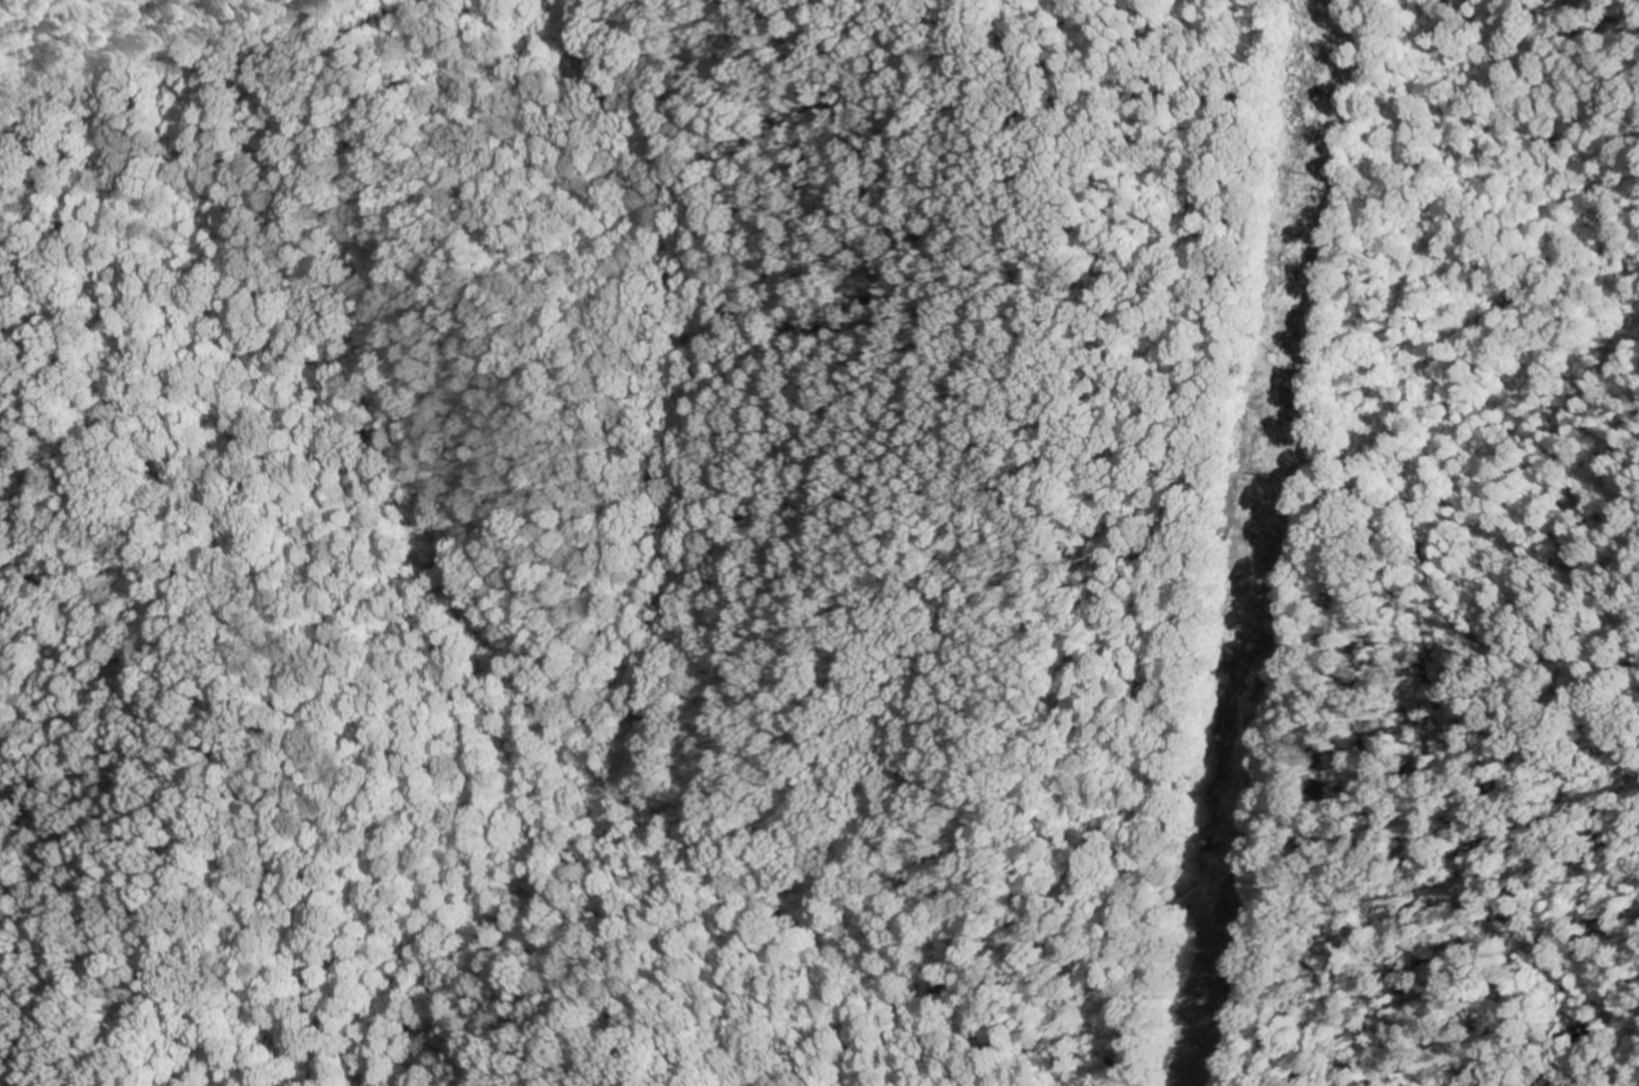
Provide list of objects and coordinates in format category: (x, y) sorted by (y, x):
power tower: (1259, 472)
power tower: (1198, 967)

